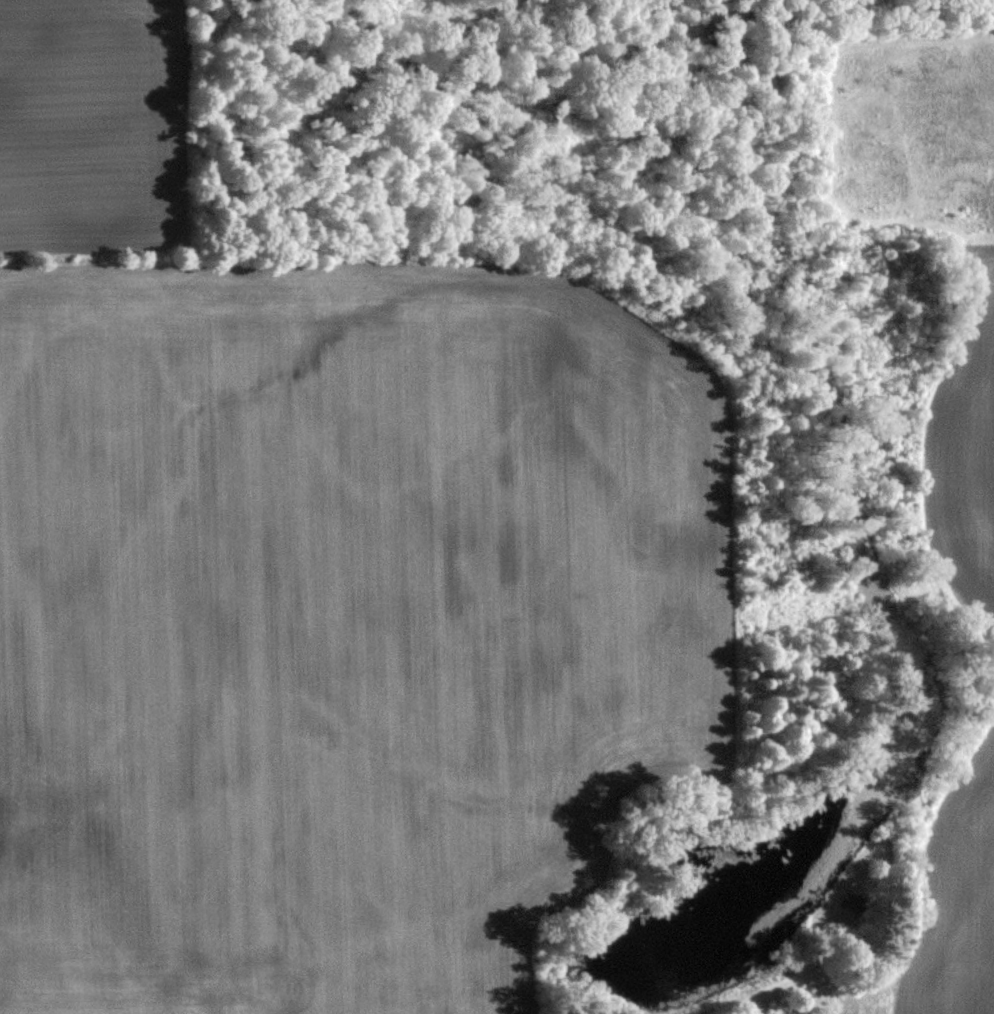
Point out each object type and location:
building: (854, 902)

